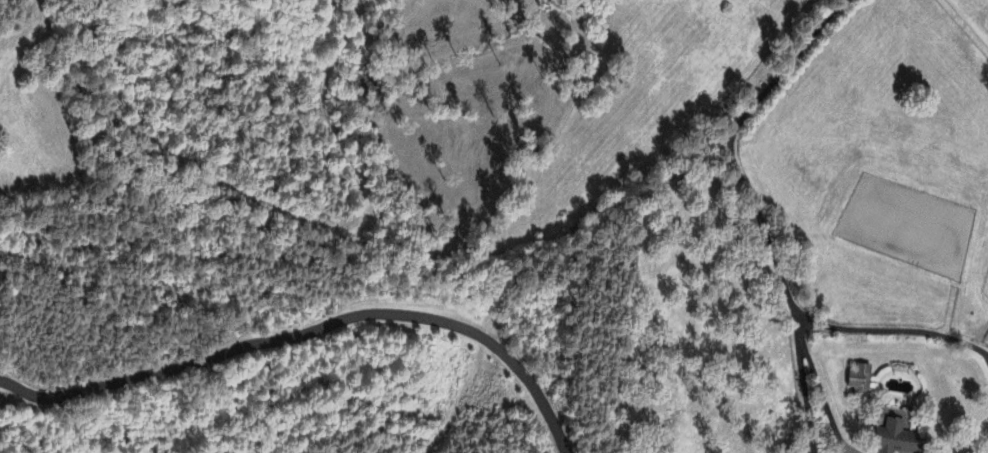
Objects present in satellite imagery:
road: (757, 212)
road: (895, 329)
road: (309, 334)
building: (861, 382)
road: (807, 398)
building: (900, 439)

